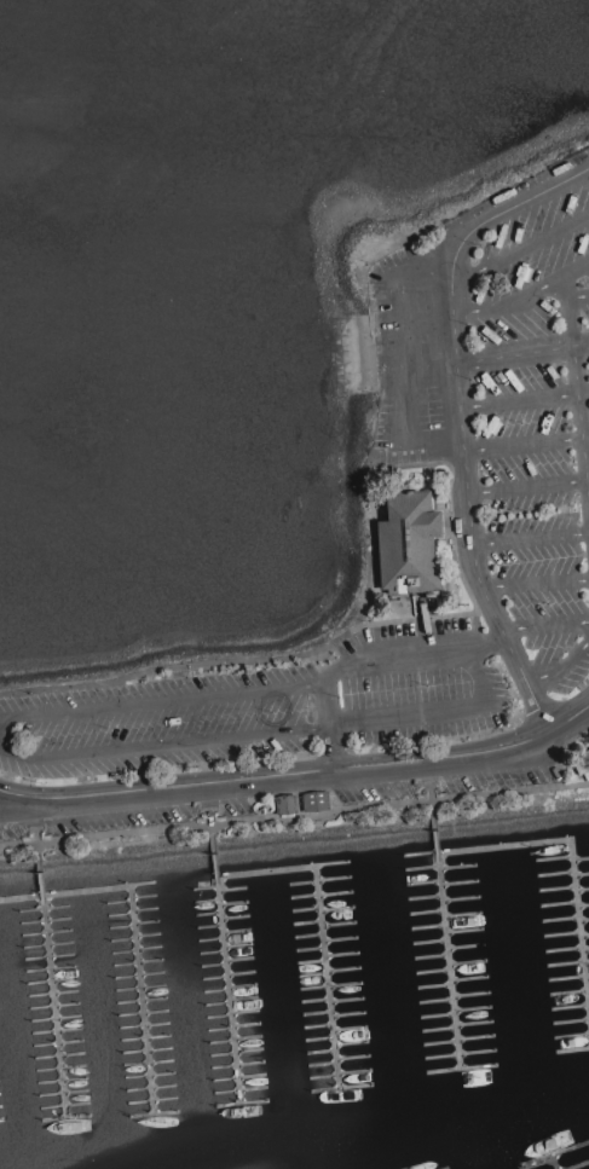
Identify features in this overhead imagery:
road: (520, 248)
road: (522, 296)
road: (567, 297)
road: (570, 324)
road: (397, 343)
road: (522, 354)
road: (524, 399)
road: (460, 421)
road: (579, 426)
road: (525, 442)
road: (588, 480)
road: (526, 488)
road: (529, 536)
building: (409, 544)
road: (536, 581)
road: (545, 626)
road: (249, 660)
road: (561, 670)
road: (484, 694)
road: (325, 708)
road: (0, 745)
road: (0, 747)
building: (583, 763)
road: (299, 772)
building: (316, 801)
building: (287, 804)
road: (294, 817)
road: (434, 817)
pier: (587, 829)
road: (214, 841)
pier: (571, 843)
road: (40, 860)
pier: (328, 924)
pier: (140, 933)
pier: (447, 950)
pier: (227, 978)
pier: (53, 996)
pier: (561, 1163)

